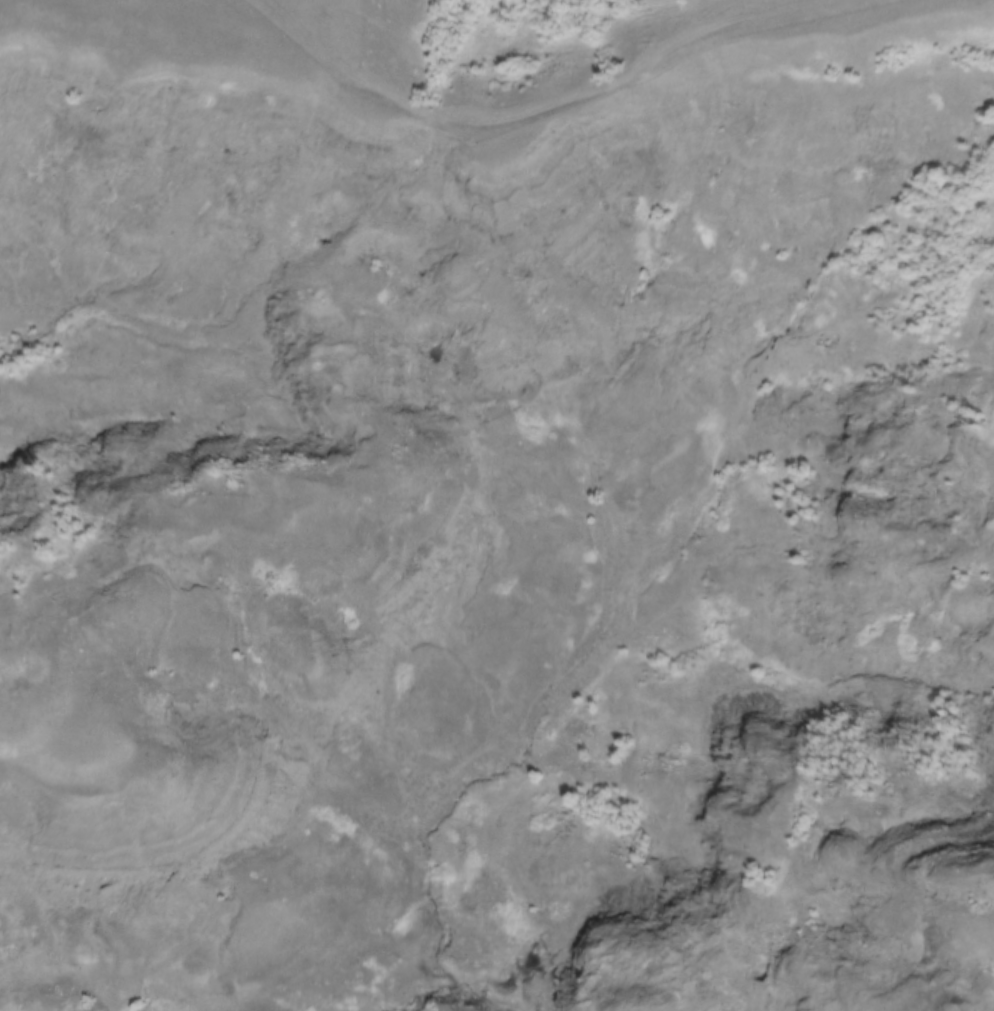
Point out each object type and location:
road: (545, 114)

